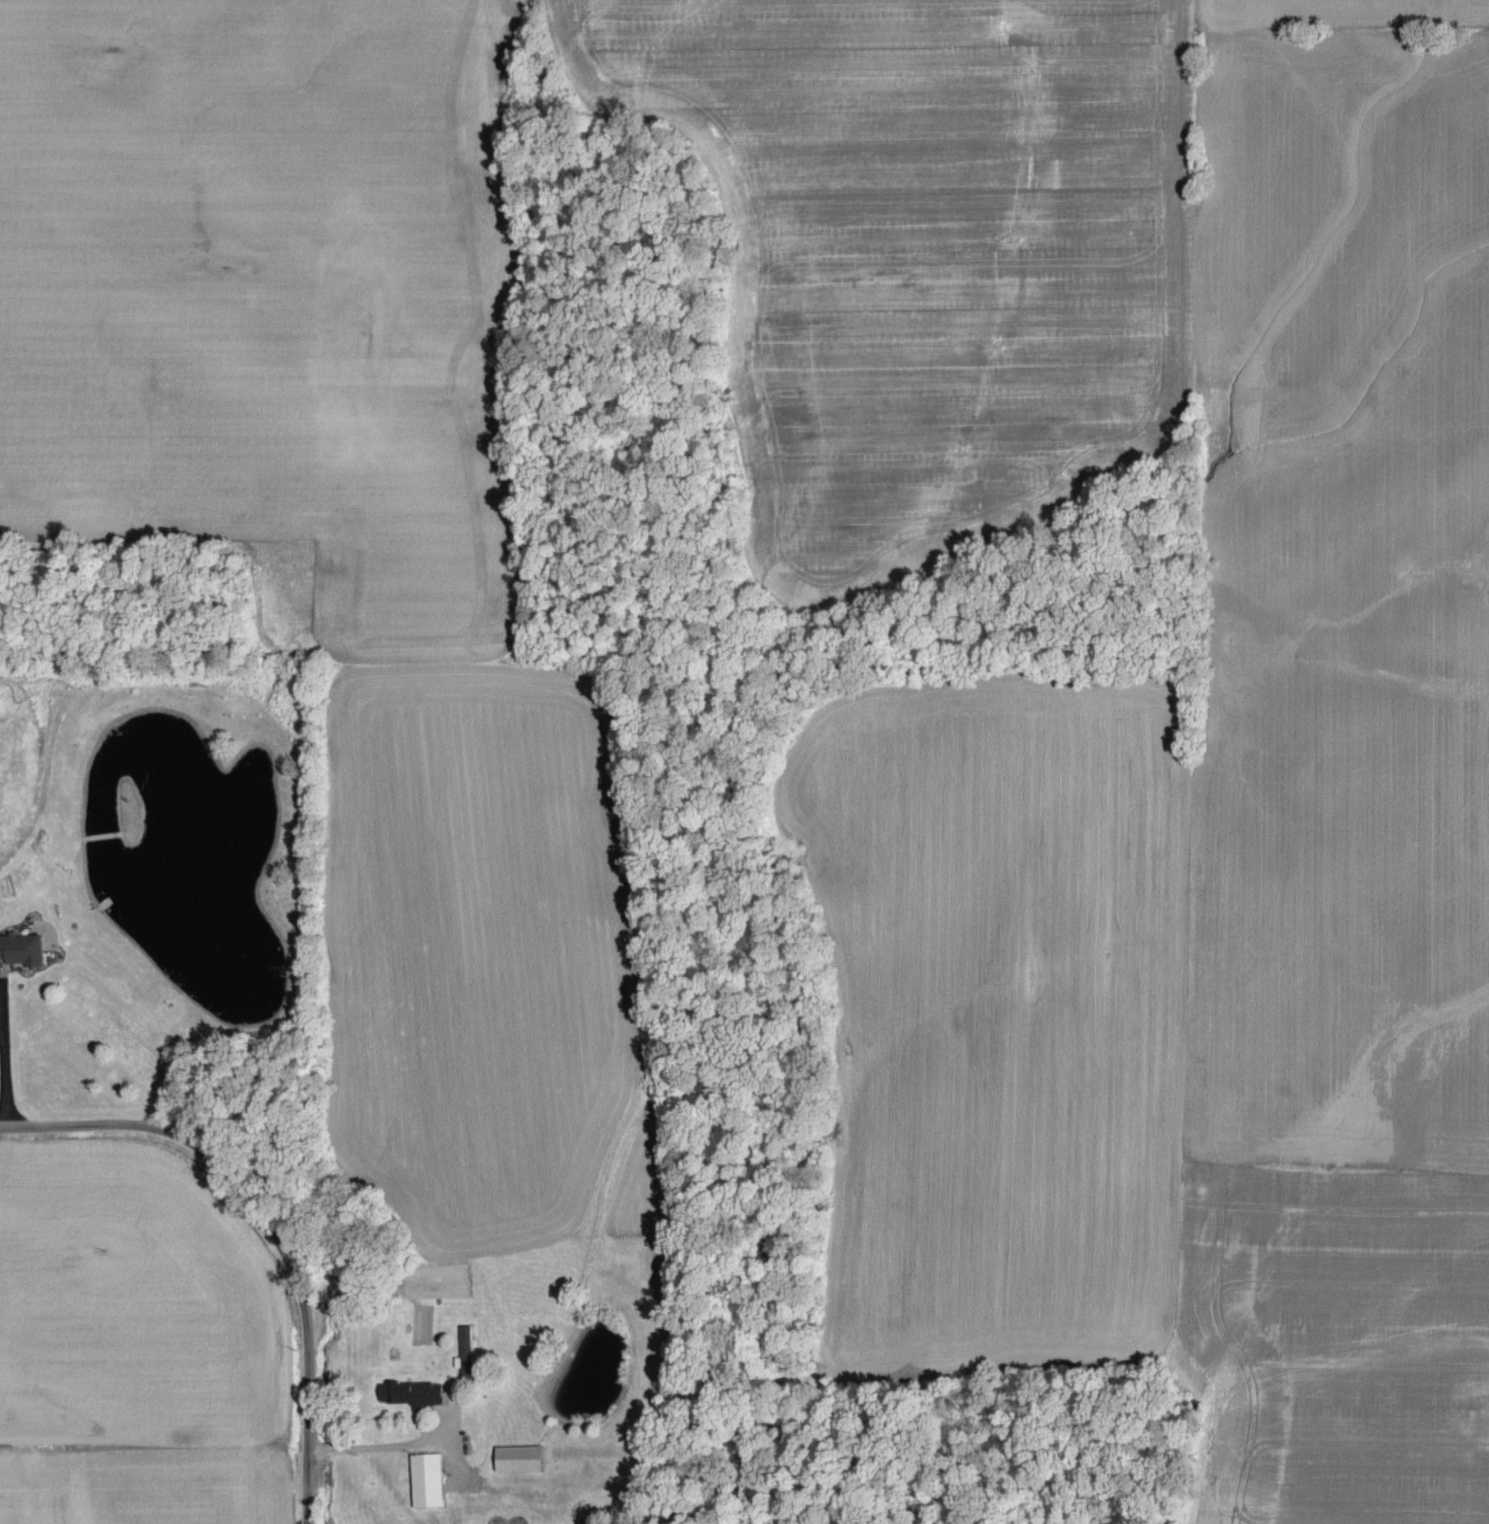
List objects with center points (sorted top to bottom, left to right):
building: (25, 951)
road: (0, 1067)
road: (175, 1137)
building: (473, 1356)
building: (415, 1395)
road: (304, 1397)
road: (382, 1448)
building: (522, 1460)
building: (430, 1482)

